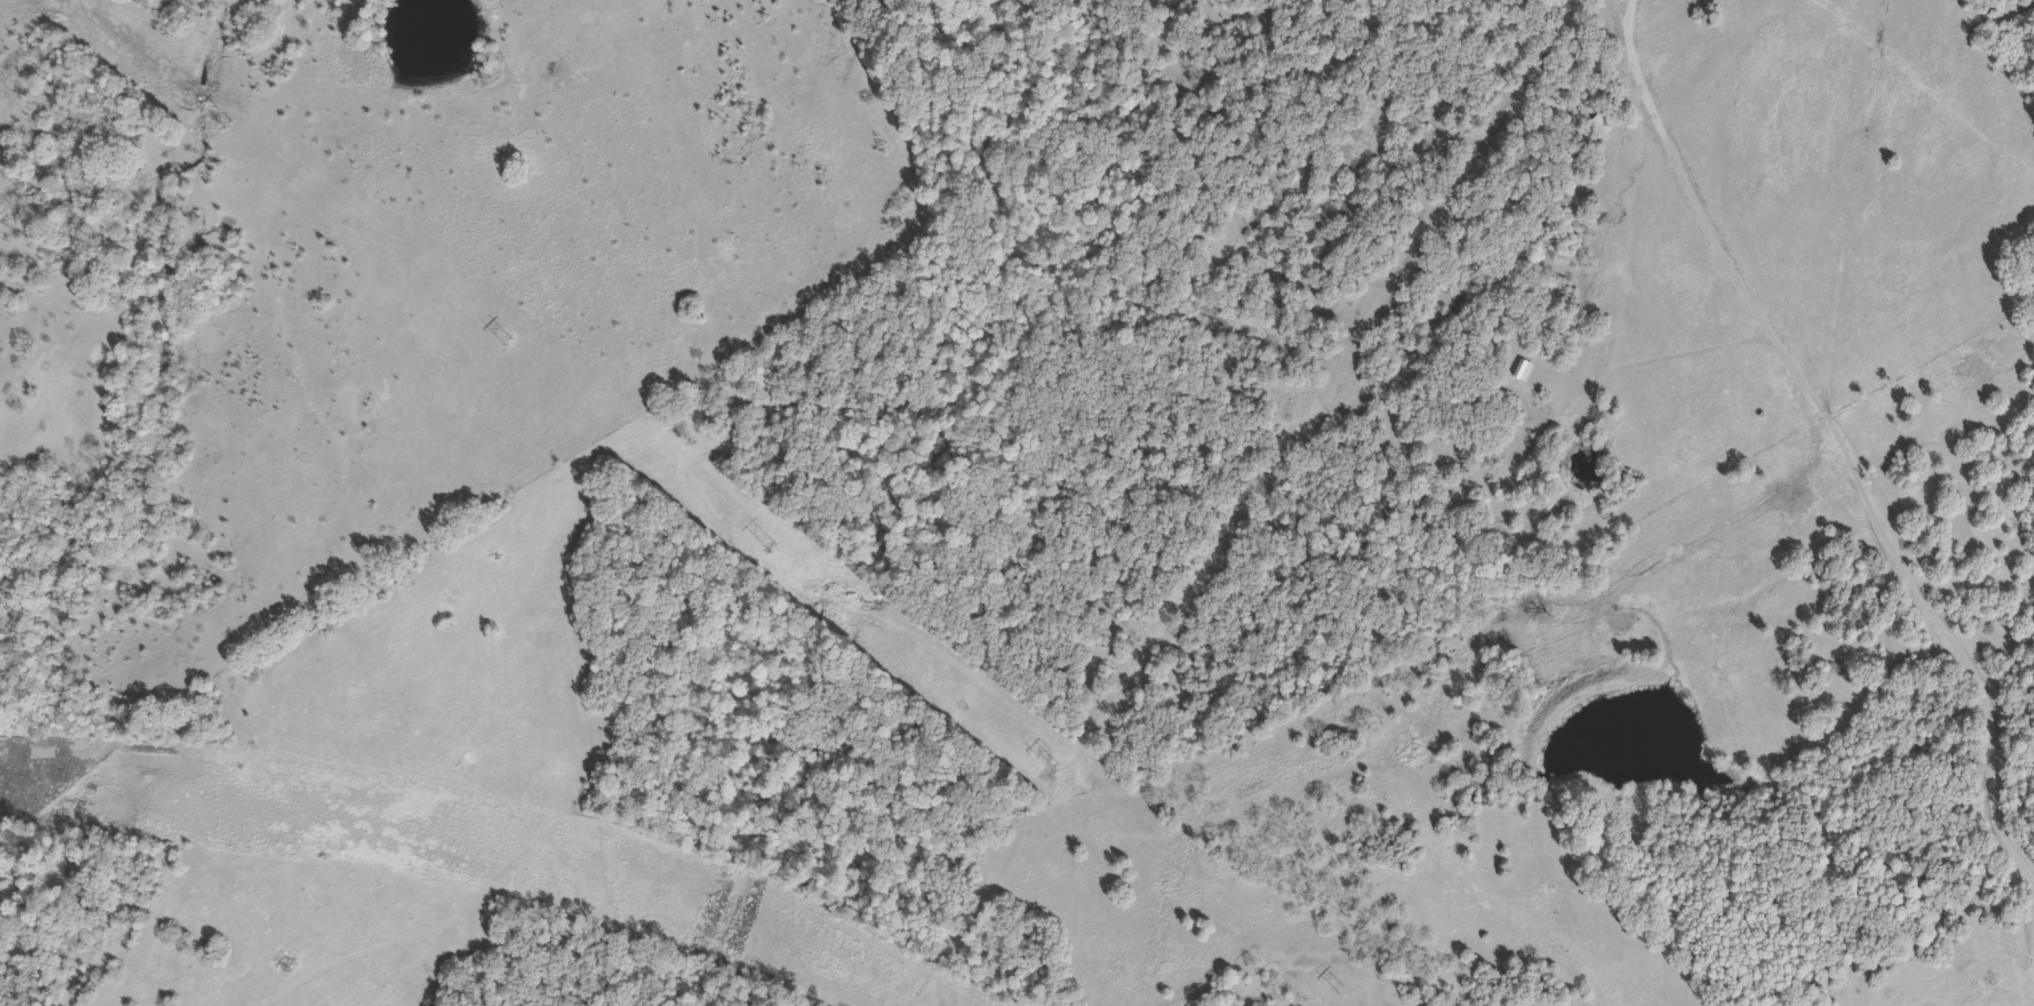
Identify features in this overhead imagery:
power tower: (238, 110)
power tower: (783, 547)

